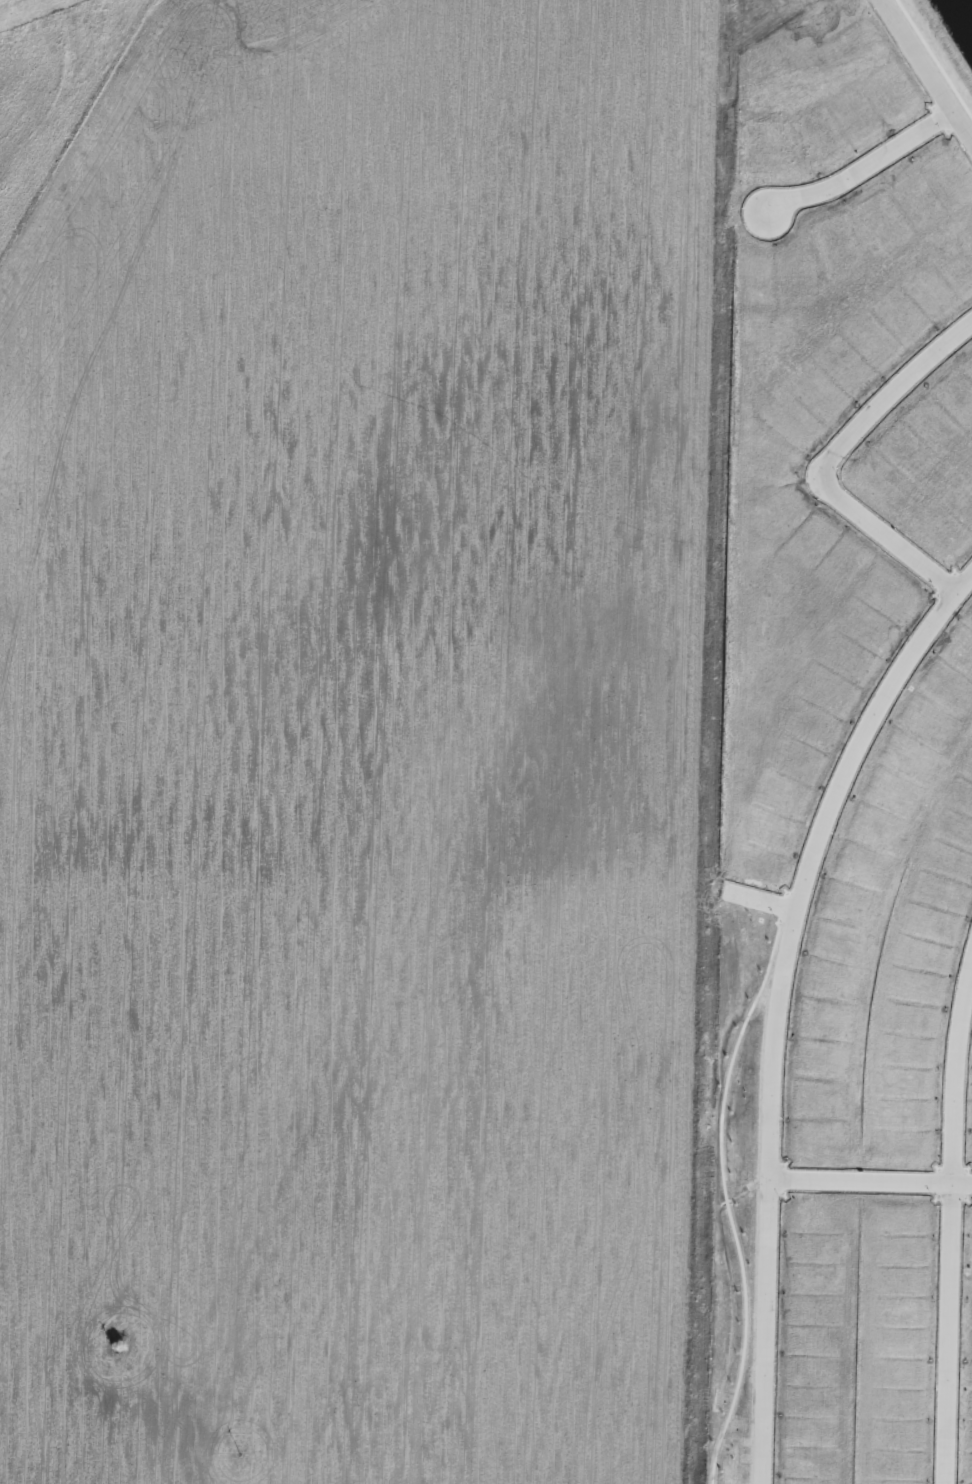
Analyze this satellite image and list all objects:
road: (927, 71)
road: (862, 168)
road: (893, 395)
road: (886, 535)
road: (760, 902)
road: (777, 1003)
road: (869, 1183)
road: (950, 1223)

